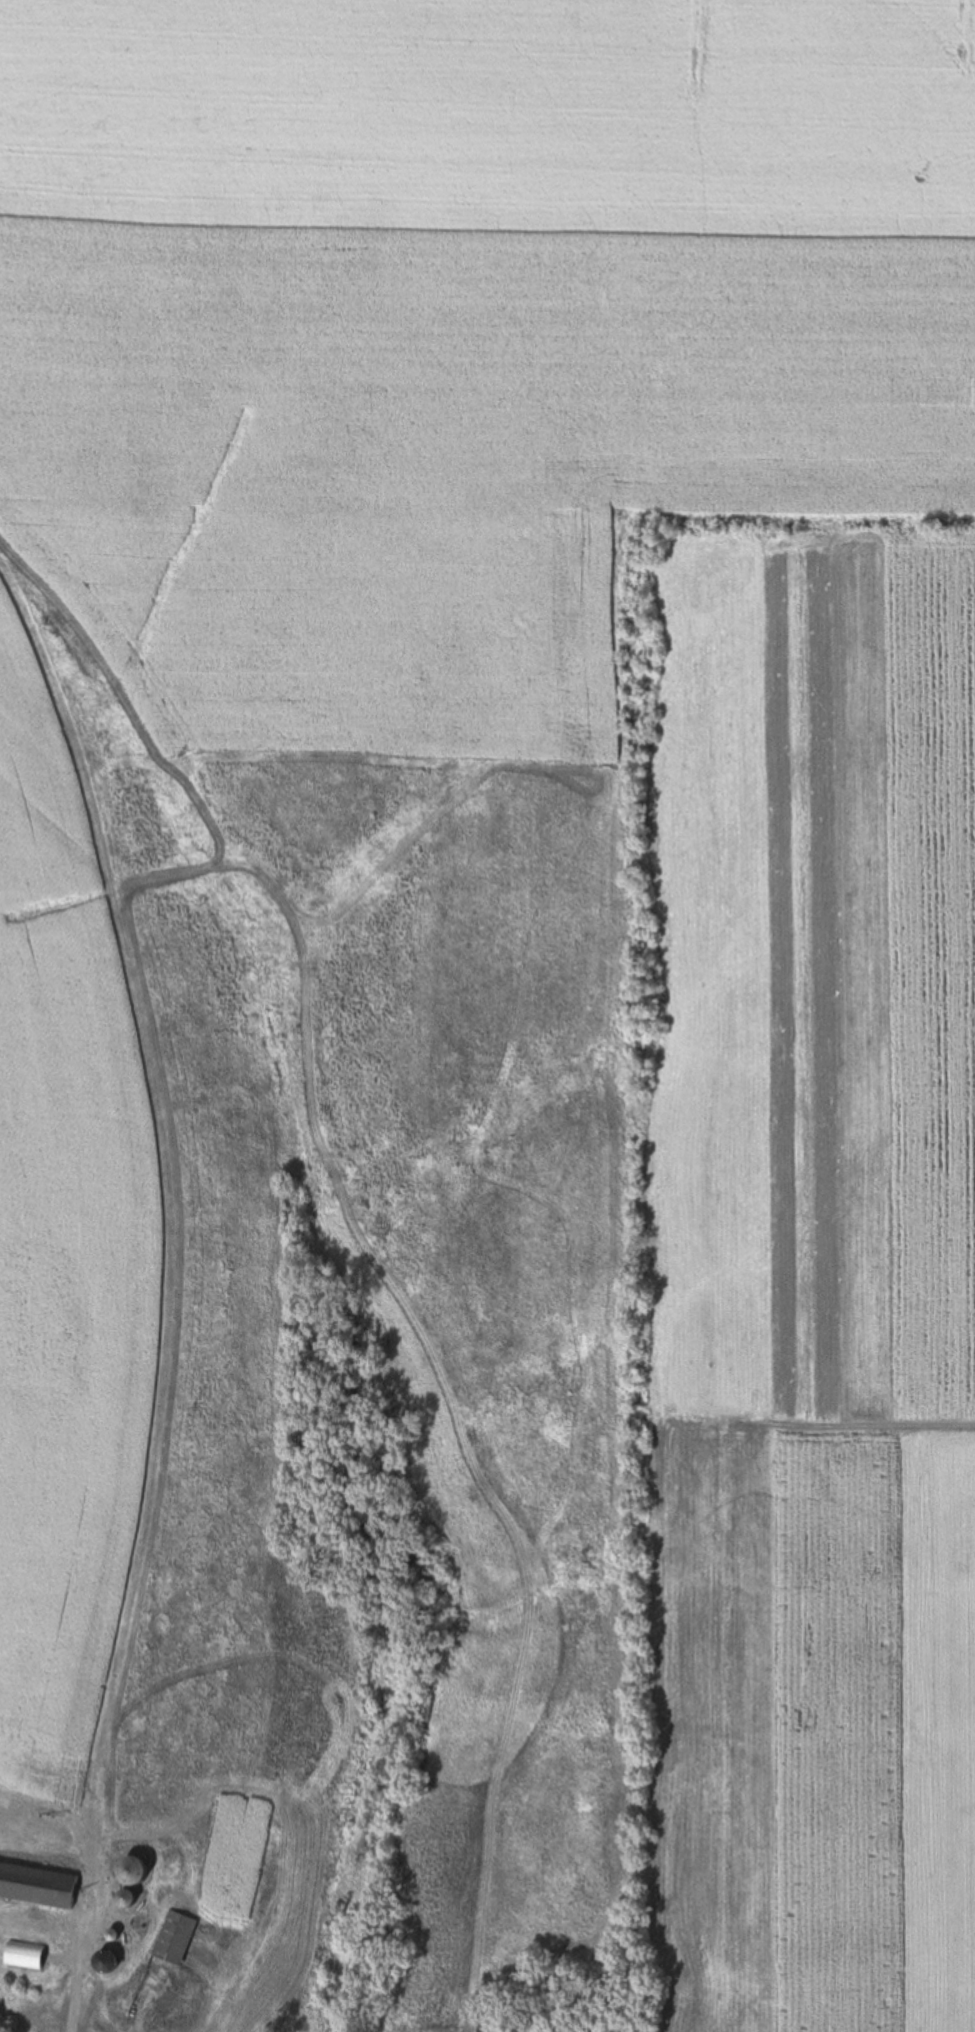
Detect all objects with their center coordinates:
building: (132, 1869)
building: (37, 1884)
building: (128, 1898)
building: (175, 1940)
road: (81, 1954)
building: (26, 1955)

